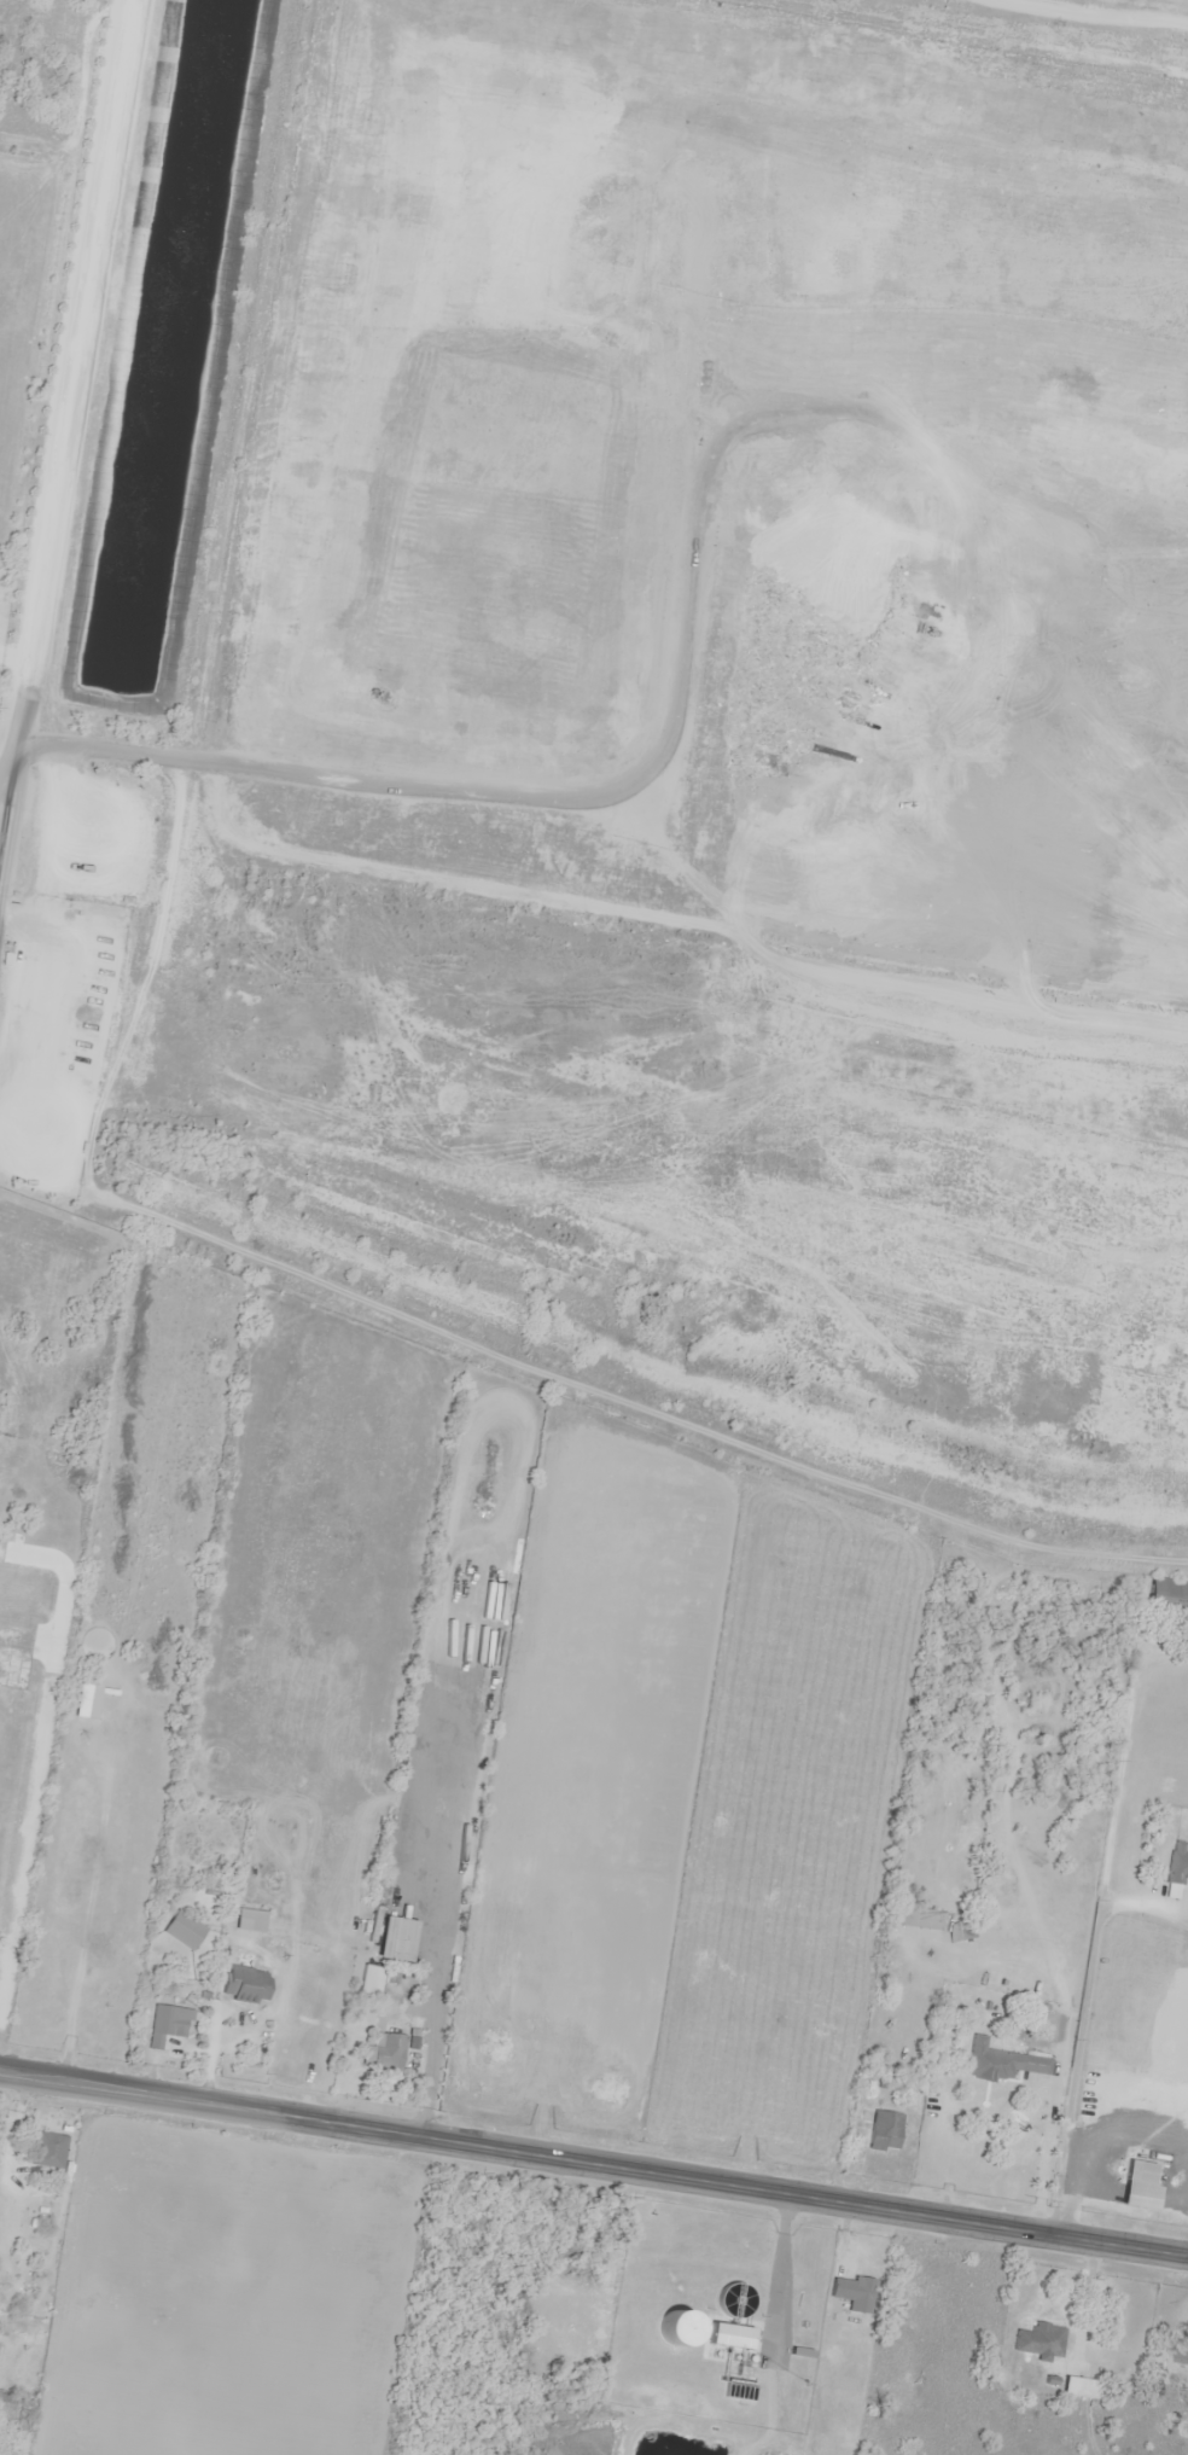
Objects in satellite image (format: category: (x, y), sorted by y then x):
road: (65, 436)
road: (14, 656)
road: (8, 768)
building: (113, 972)
building: (12, 1040)
building: (89, 1070)
building: (1166, 1594)
building: (1176, 1871)
building: (925, 1919)
building: (181, 1930)
building: (243, 1983)
building: (167, 2024)
building: (385, 2052)
building: (1000, 2063)
building: (883, 2131)
building: (47, 2149)
road: (594, 2163)
building: (1136, 2171)
building: (35, 2245)
road: (781, 2274)
building: (851, 2292)
building: (677, 2327)
storage tank: (677, 2327)
building: (729, 2335)
building: (1039, 2340)
building: (10, 2398)

